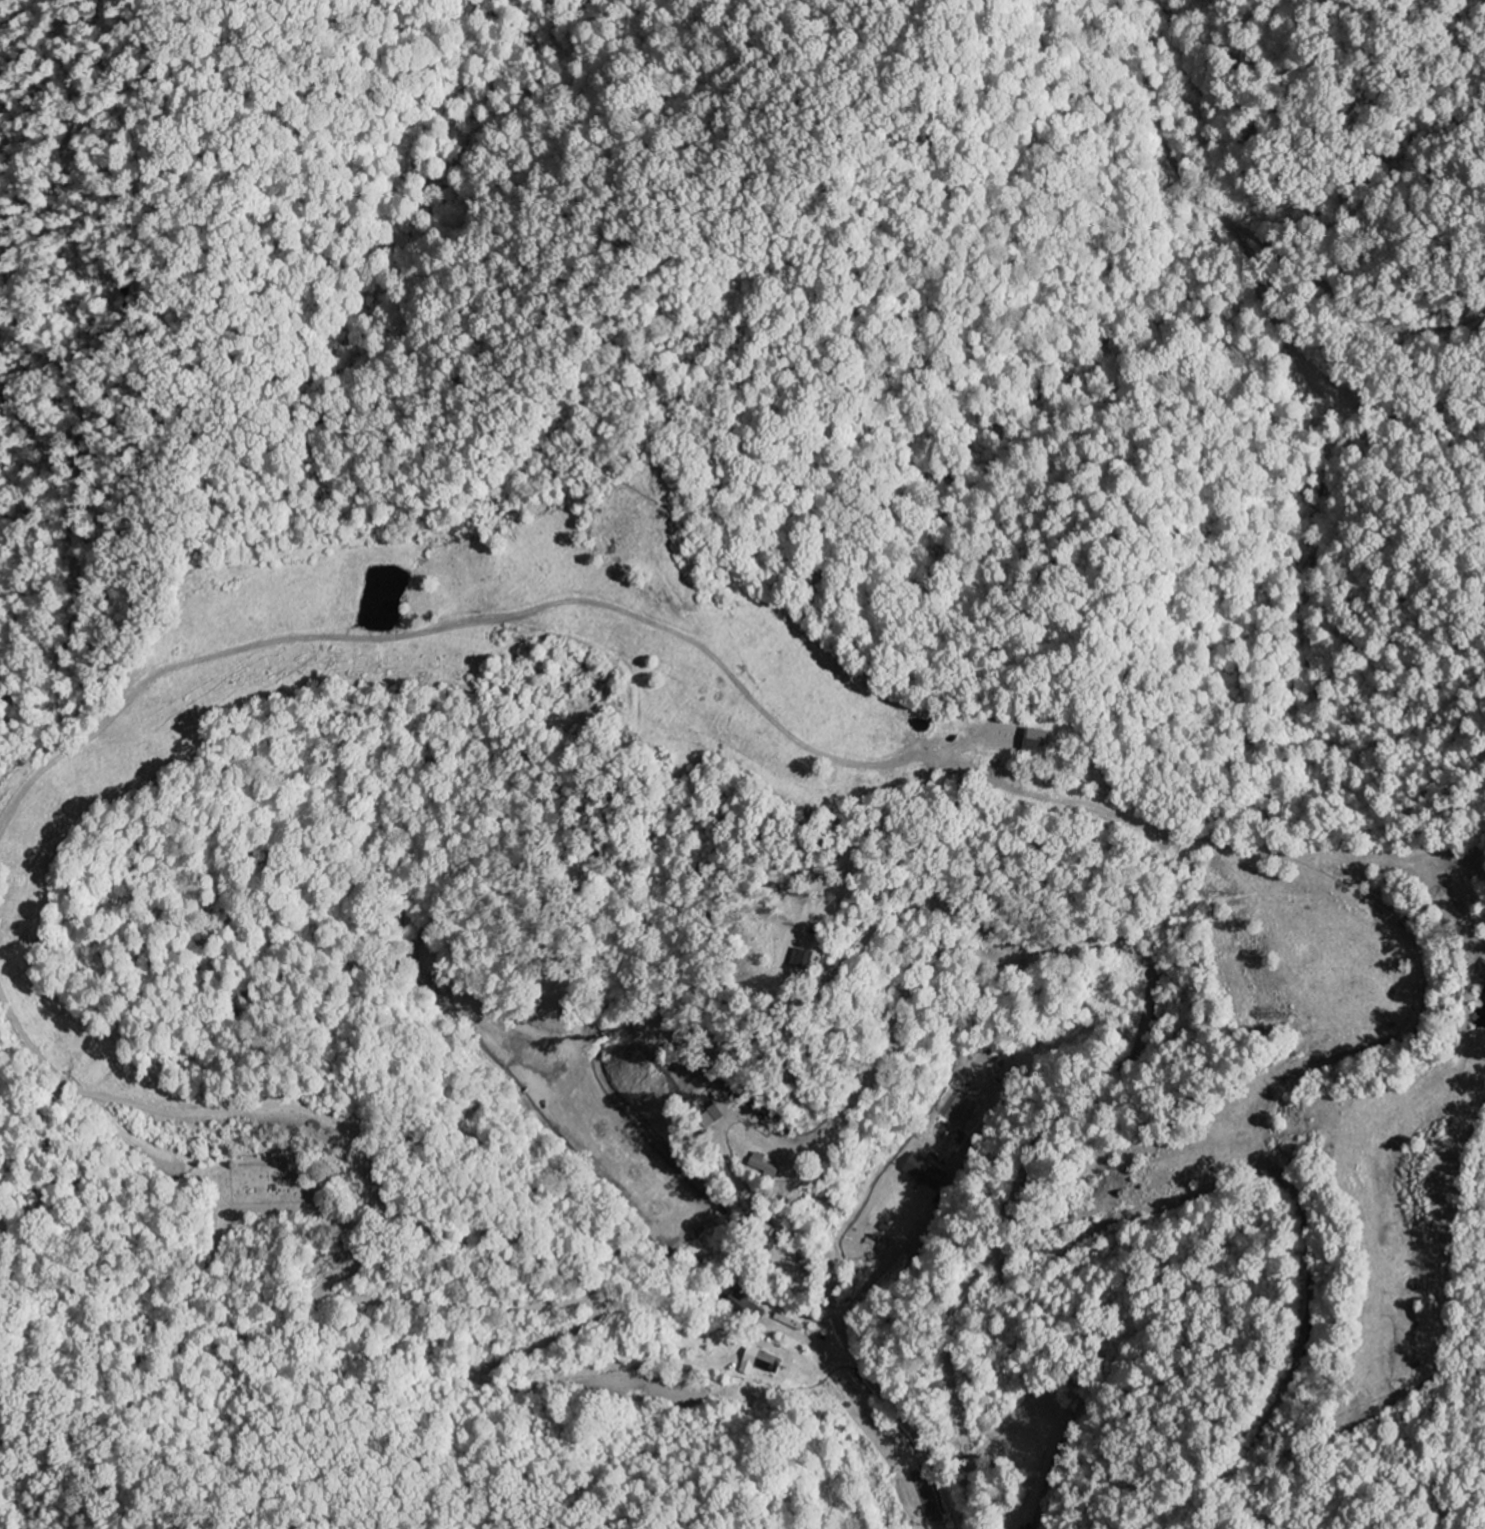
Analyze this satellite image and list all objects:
building: (1043, 741)
building: (805, 959)
building: (710, 1122)
building: (768, 1167)
building: (928, 1173)
building: (762, 1363)
road: (964, 1427)

